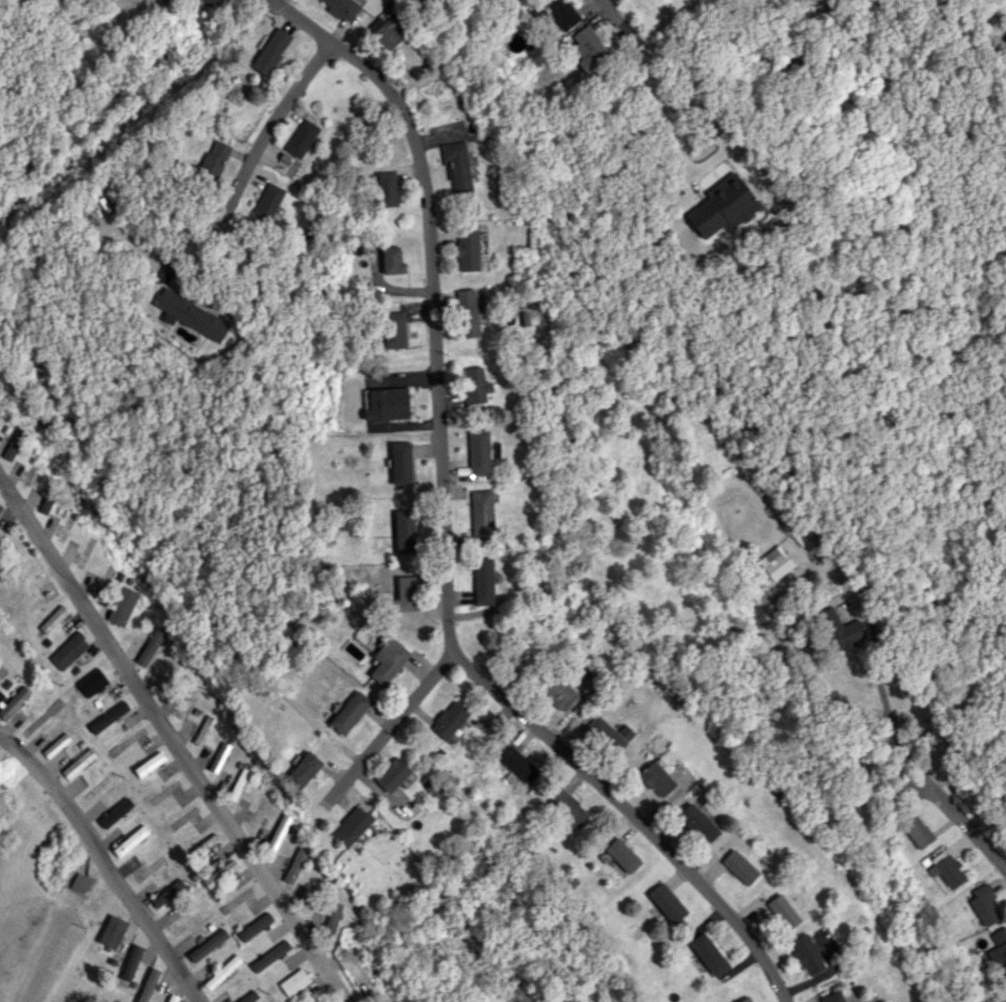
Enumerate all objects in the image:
building: (211, 2)
building: (342, 7)
building: (562, 12)
road: (614, 16)
building: (387, 33)
building: (590, 48)
building: (271, 51)
road: (654, 96)
building: (301, 138)
building: (215, 158)
road: (250, 163)
building: (457, 167)
building: (385, 189)
building: (267, 202)
building: (467, 250)
building: (392, 260)
building: (467, 312)
building: (190, 315)
building: (395, 329)
building: (476, 385)
building: (387, 404)
building: (13, 444)
building: (478, 452)
building: (401, 463)
building: (45, 504)
building: (0, 506)
building: (481, 515)
building: (405, 530)
road: (446, 537)
building: (775, 562)
building: (483, 581)
building: (405, 594)
building: (122, 606)
building: (53, 619)
building: (840, 630)
building: (151, 644)
building: (69, 650)
building: (389, 660)
building: (92, 682)
building: (558, 692)
building: (14, 702)
building: (349, 712)
building: (108, 717)
building: (449, 719)
road: (401, 722)
building: (606, 734)
road: (905, 736)
road: (174, 741)
building: (56, 745)
building: (219, 757)
building: (78, 763)
building: (516, 763)
building: (149, 764)
building: (303, 769)
building: (392, 775)
building: (656, 779)
building: (567, 807)
building: (115, 812)
building: (698, 823)
building: (351, 826)
building: (917, 831)
building: (265, 836)
building: (130, 840)
building: (205, 844)
building: (623, 855)
road: (105, 863)
building: (295, 864)
building: (739, 866)
building: (947, 869)
building: (220, 873)
building: (81, 883)
building: (166, 893)
building: (667, 902)
building: (984, 904)
building: (782, 911)
building: (331, 917)
building: (255, 926)
building: (112, 932)
building: (207, 945)
building: (998, 948)
building: (709, 954)
building: (806, 954)
building: (131, 962)
building: (223, 972)
building: (294, 982)
building: (148, 985)
building: (832, 997)
building: (746, 999)
building: (318, 1000)

